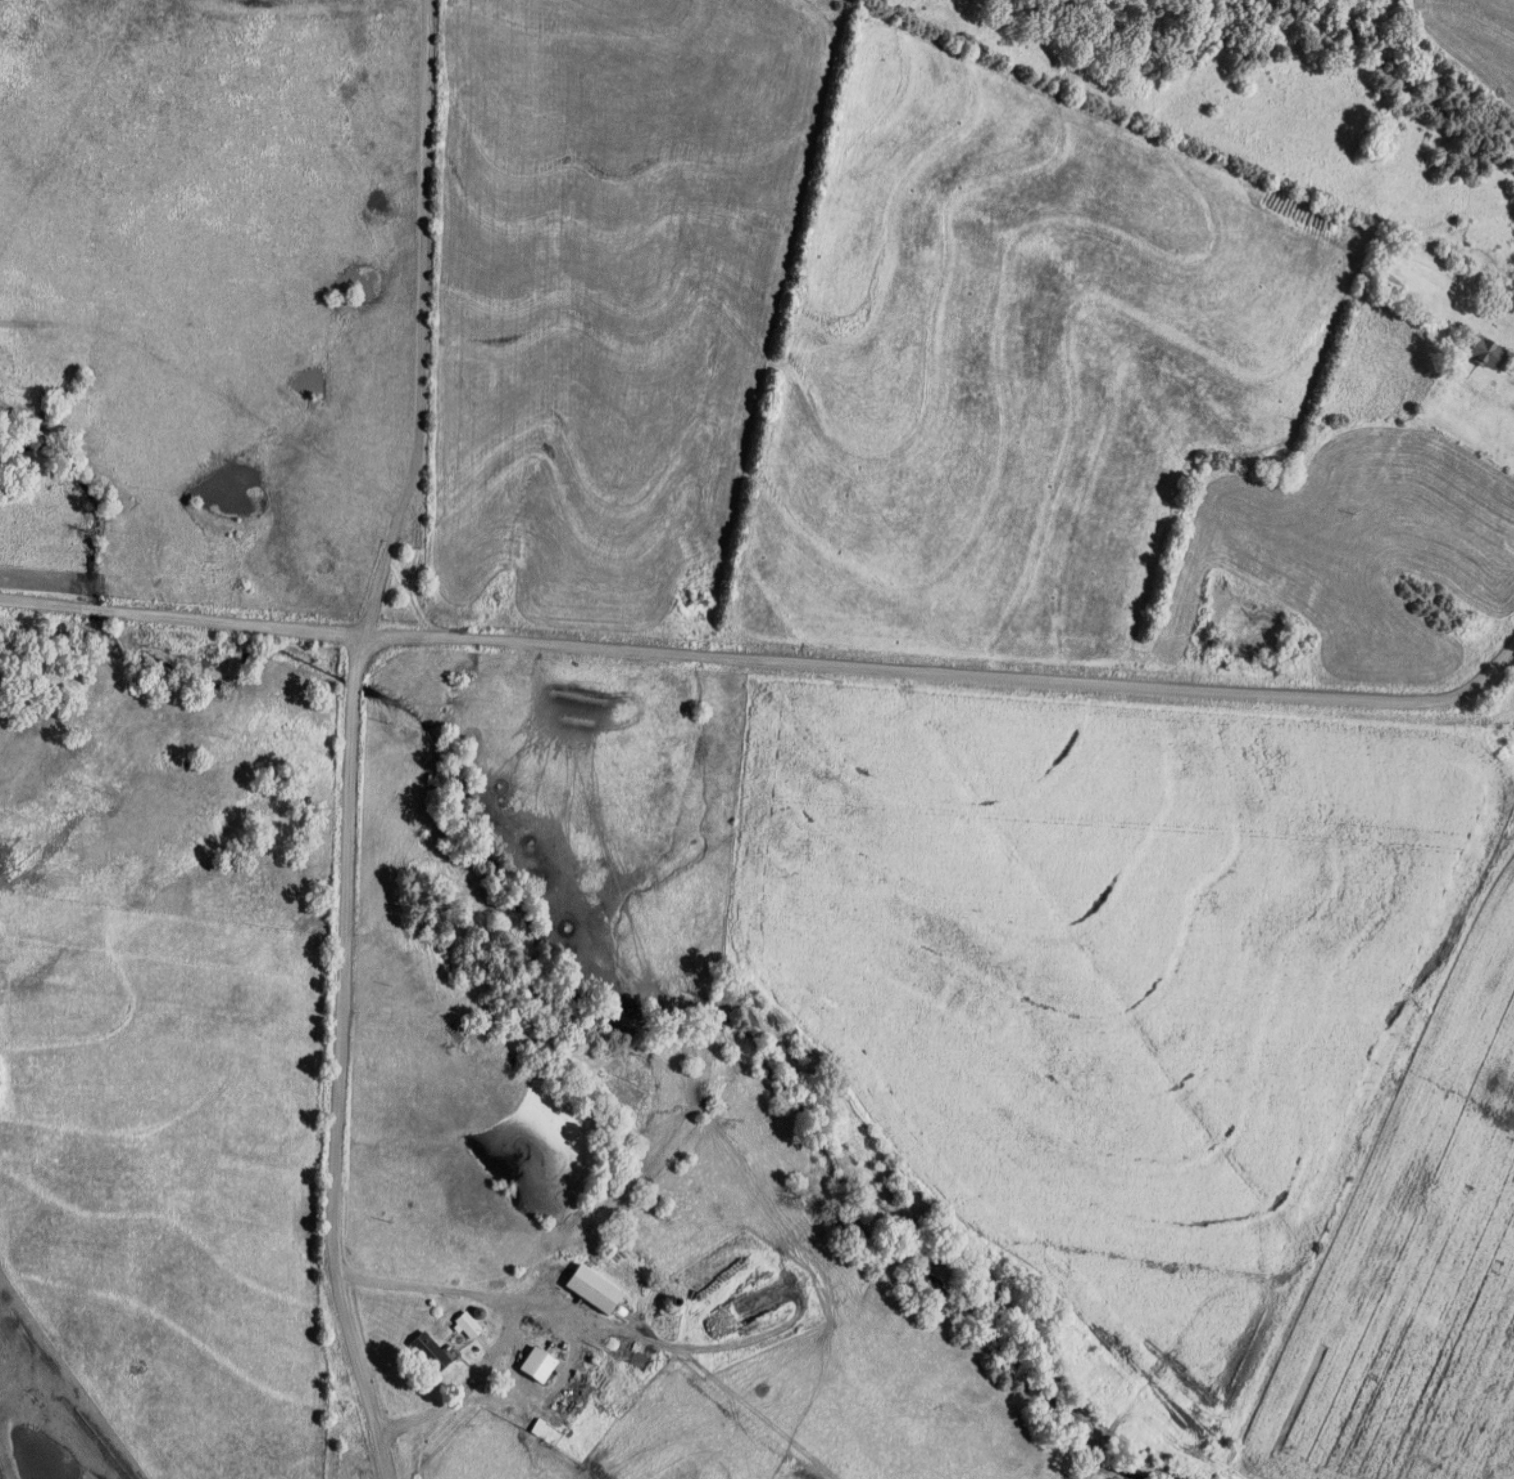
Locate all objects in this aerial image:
building: (1505, 301)
road: (420, 321)
building: (1481, 352)
road: (767, 661)
building: (444, 1045)
road: (342, 1060)
building: (591, 1288)
road: (504, 1314)
building: (468, 1324)
building: (428, 1352)
building: (536, 1365)

